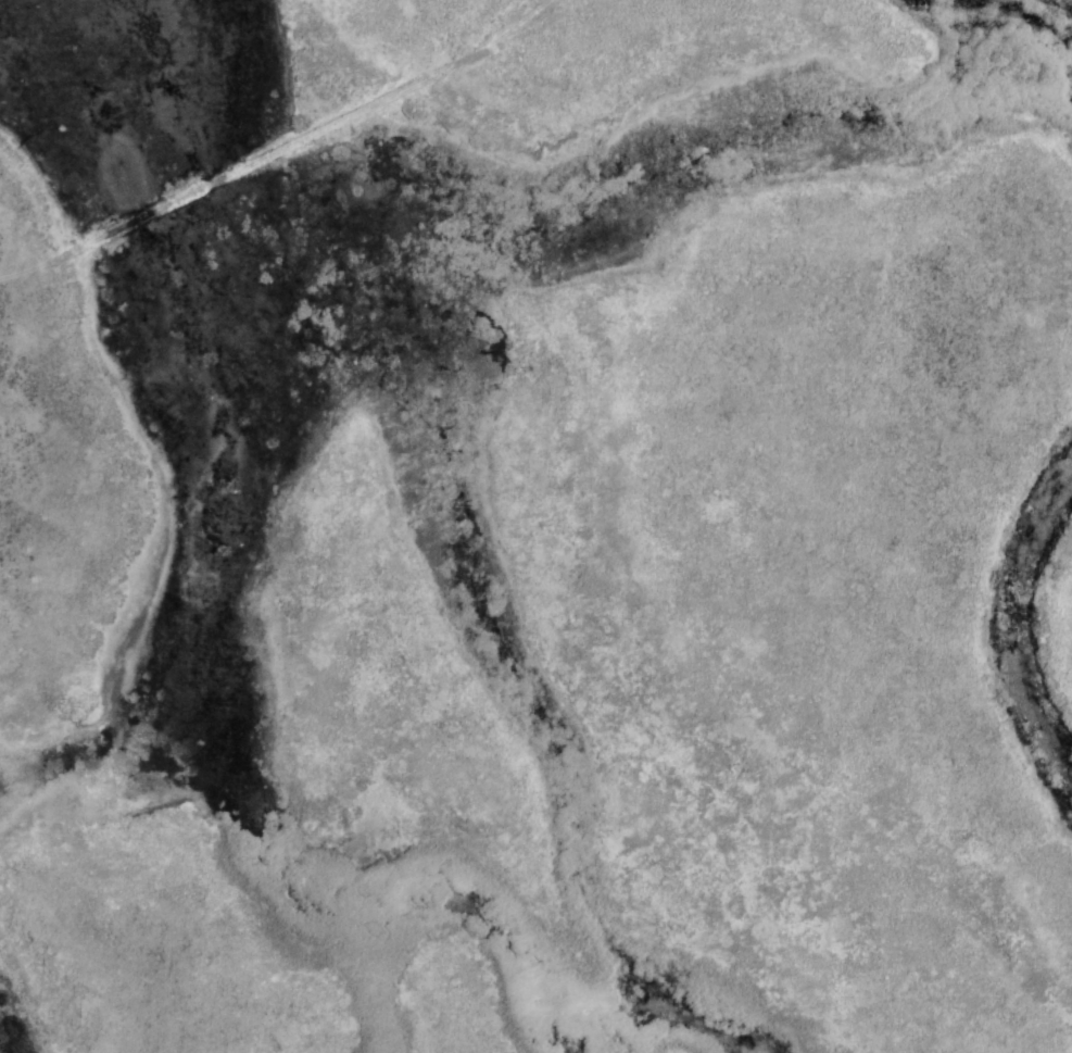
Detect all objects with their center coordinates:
crop: (535, 526)

